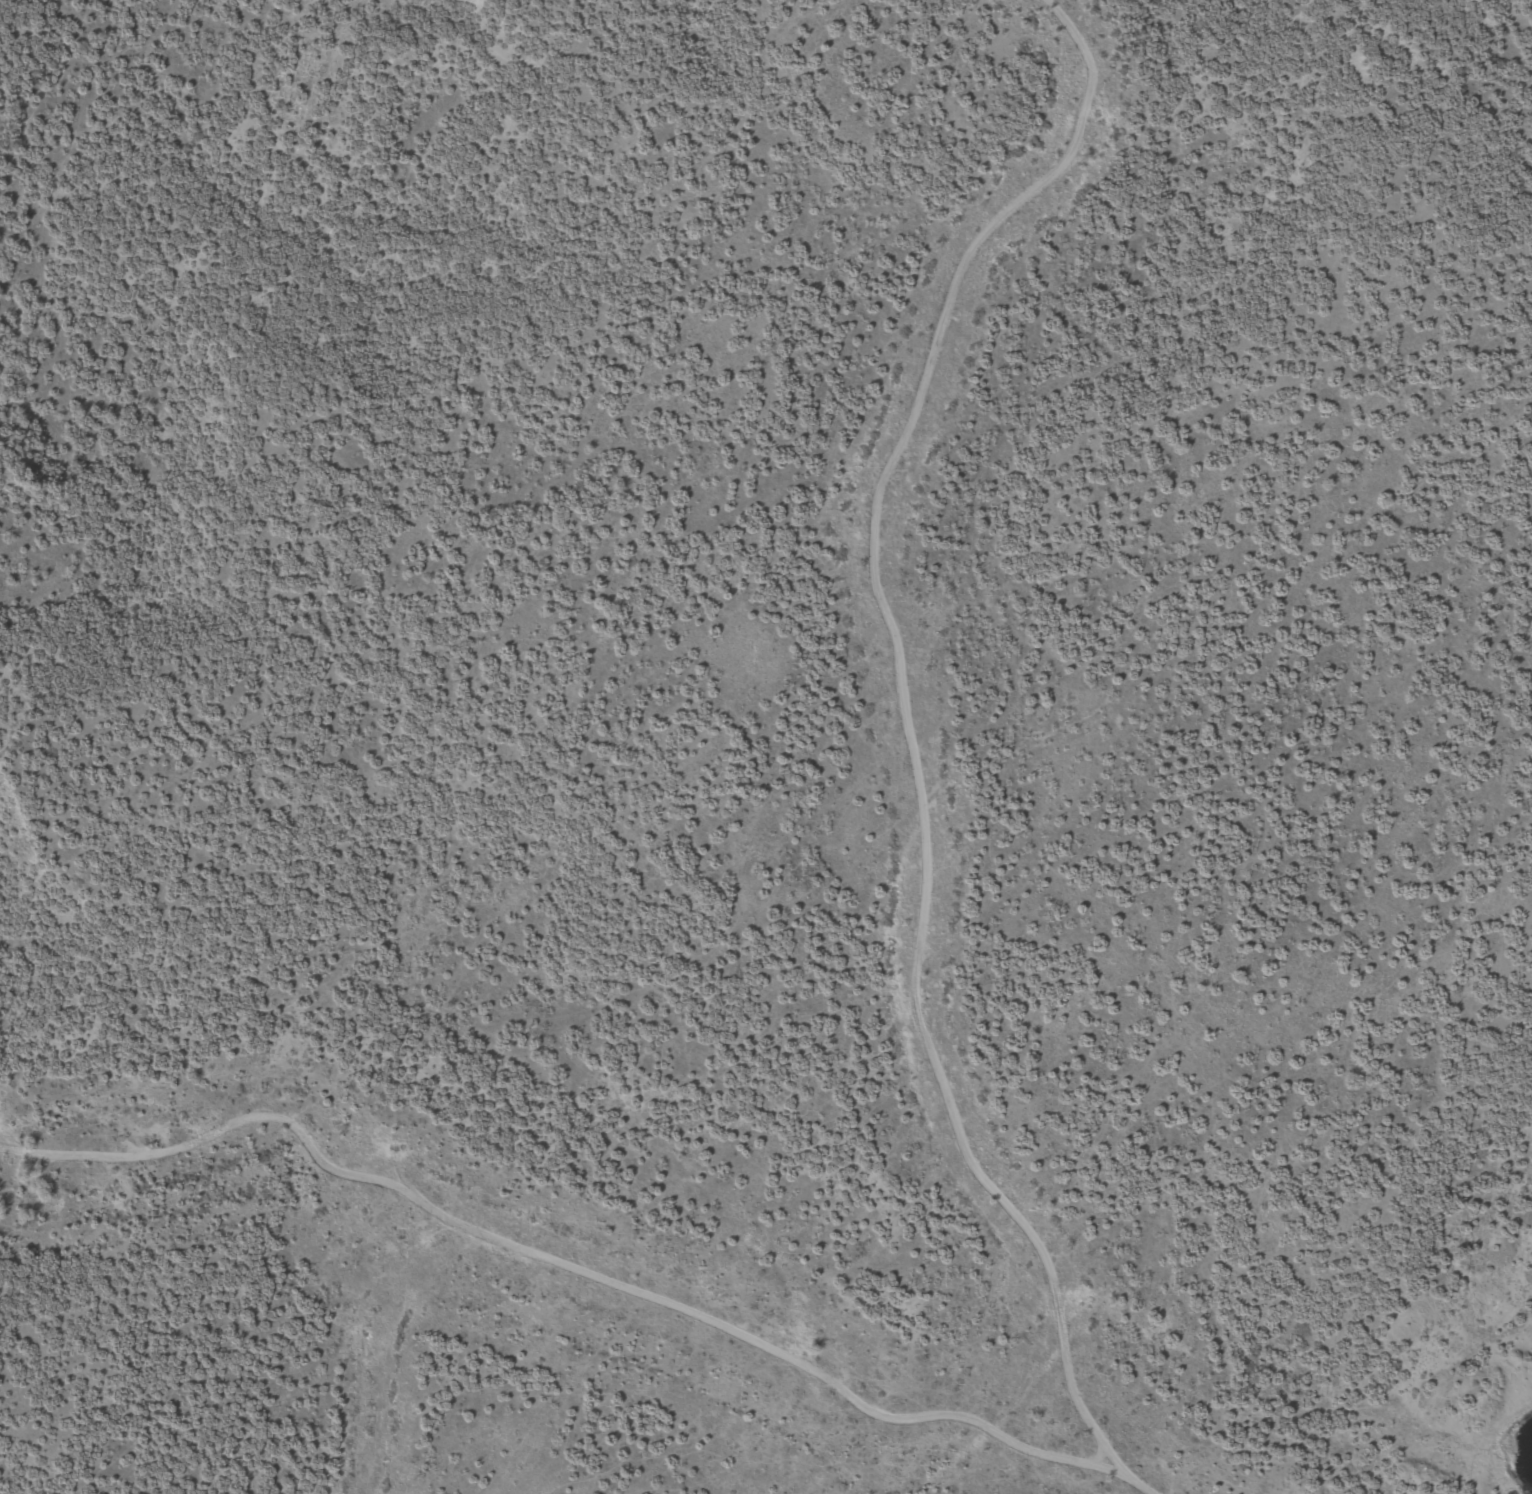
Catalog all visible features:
road: (934, 741)
road: (564, 1241)

